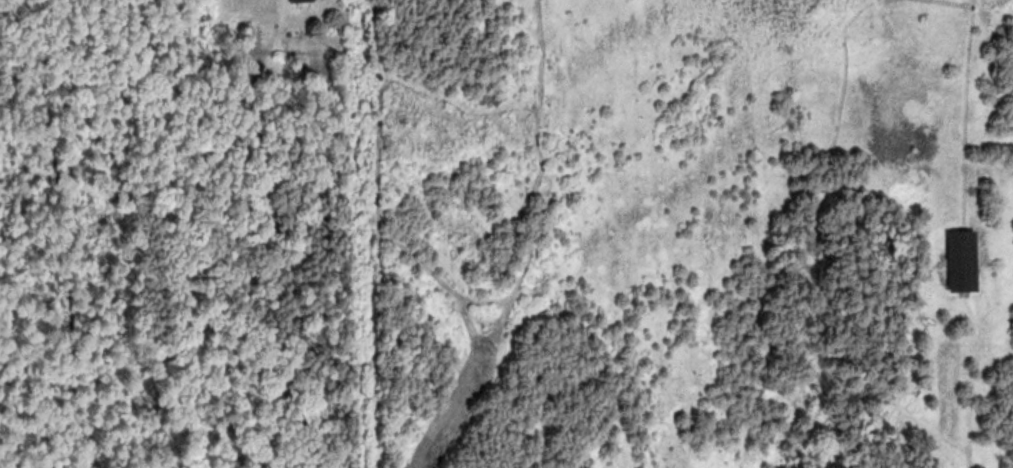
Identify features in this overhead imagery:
building: (307, 1)
building: (966, 259)

